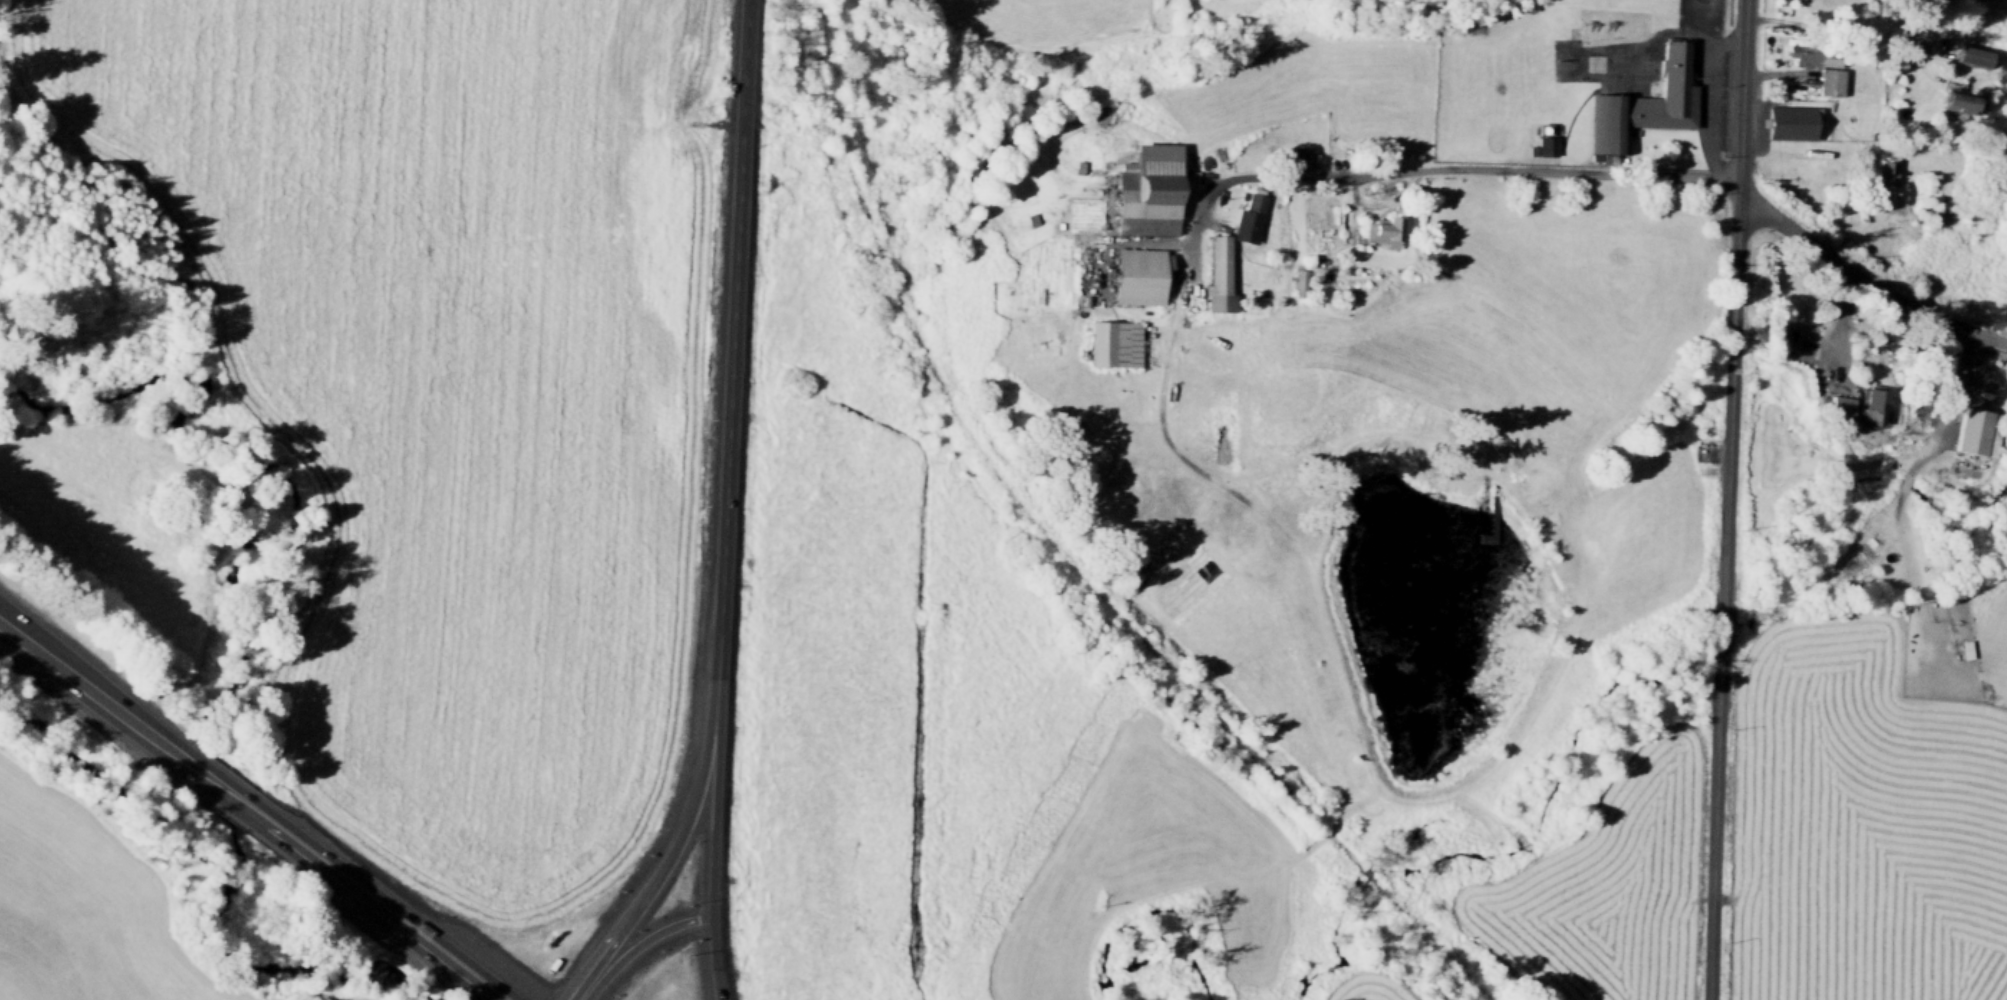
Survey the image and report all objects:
road: (1848, 34)
road: (1725, 43)
building: (1619, 50)
building: (1632, 50)
building: (1803, 55)
building: (1830, 57)
building: (1977, 57)
road: (1639, 66)
road: (1779, 75)
parking lot: (1709, 76)
building: (1830, 83)
road: (1706, 91)
building: (1957, 98)
building: (1647, 104)
building: (1793, 120)
building: (1494, 122)
building: (1543, 129)
building: (1495, 136)
building: (1507, 142)
building: (1515, 143)
building: (1524, 143)
building: (1546, 145)
building: (1532, 150)
building: (1298, 164)
building: (1886, 168)
road: (1406, 172)
building: (1148, 192)
road: (1386, 204)
road: (1108, 208)
road: (1347, 209)
building: (1250, 215)
building: (1386, 231)
road: (1118, 240)
building: (1139, 275)
building: (1219, 276)
crop: (1588, 278)
road: (1864, 279)
building: (1298, 280)
road: (1734, 297)
building: (1115, 344)
road: (729, 368)
road: (1842, 383)
crop: (447, 384)
building: (1840, 405)
building: (1867, 405)
road: (1952, 412)
building: (1978, 429)
railway: (1002, 479)
road: (1903, 481)
road: (1533, 512)
road: (1276, 535)
crop: (1639, 539)
road: (1903, 546)
road: (1720, 606)
road: (8, 623)
building: (1964, 647)
road: (80, 680)
crop: (931, 694)
road: (1536, 709)
road: (175, 753)
road: (233, 798)
road: (1714, 809)
crop: (1864, 824)
road: (709, 828)
road: (678, 835)
railway: (1373, 882)
crop: (1606, 892)
road: (379, 909)
road: (646, 939)
road: (610, 950)
railway: (1440, 950)
road: (711, 960)
road: (582, 987)
crop: (1365, 989)

